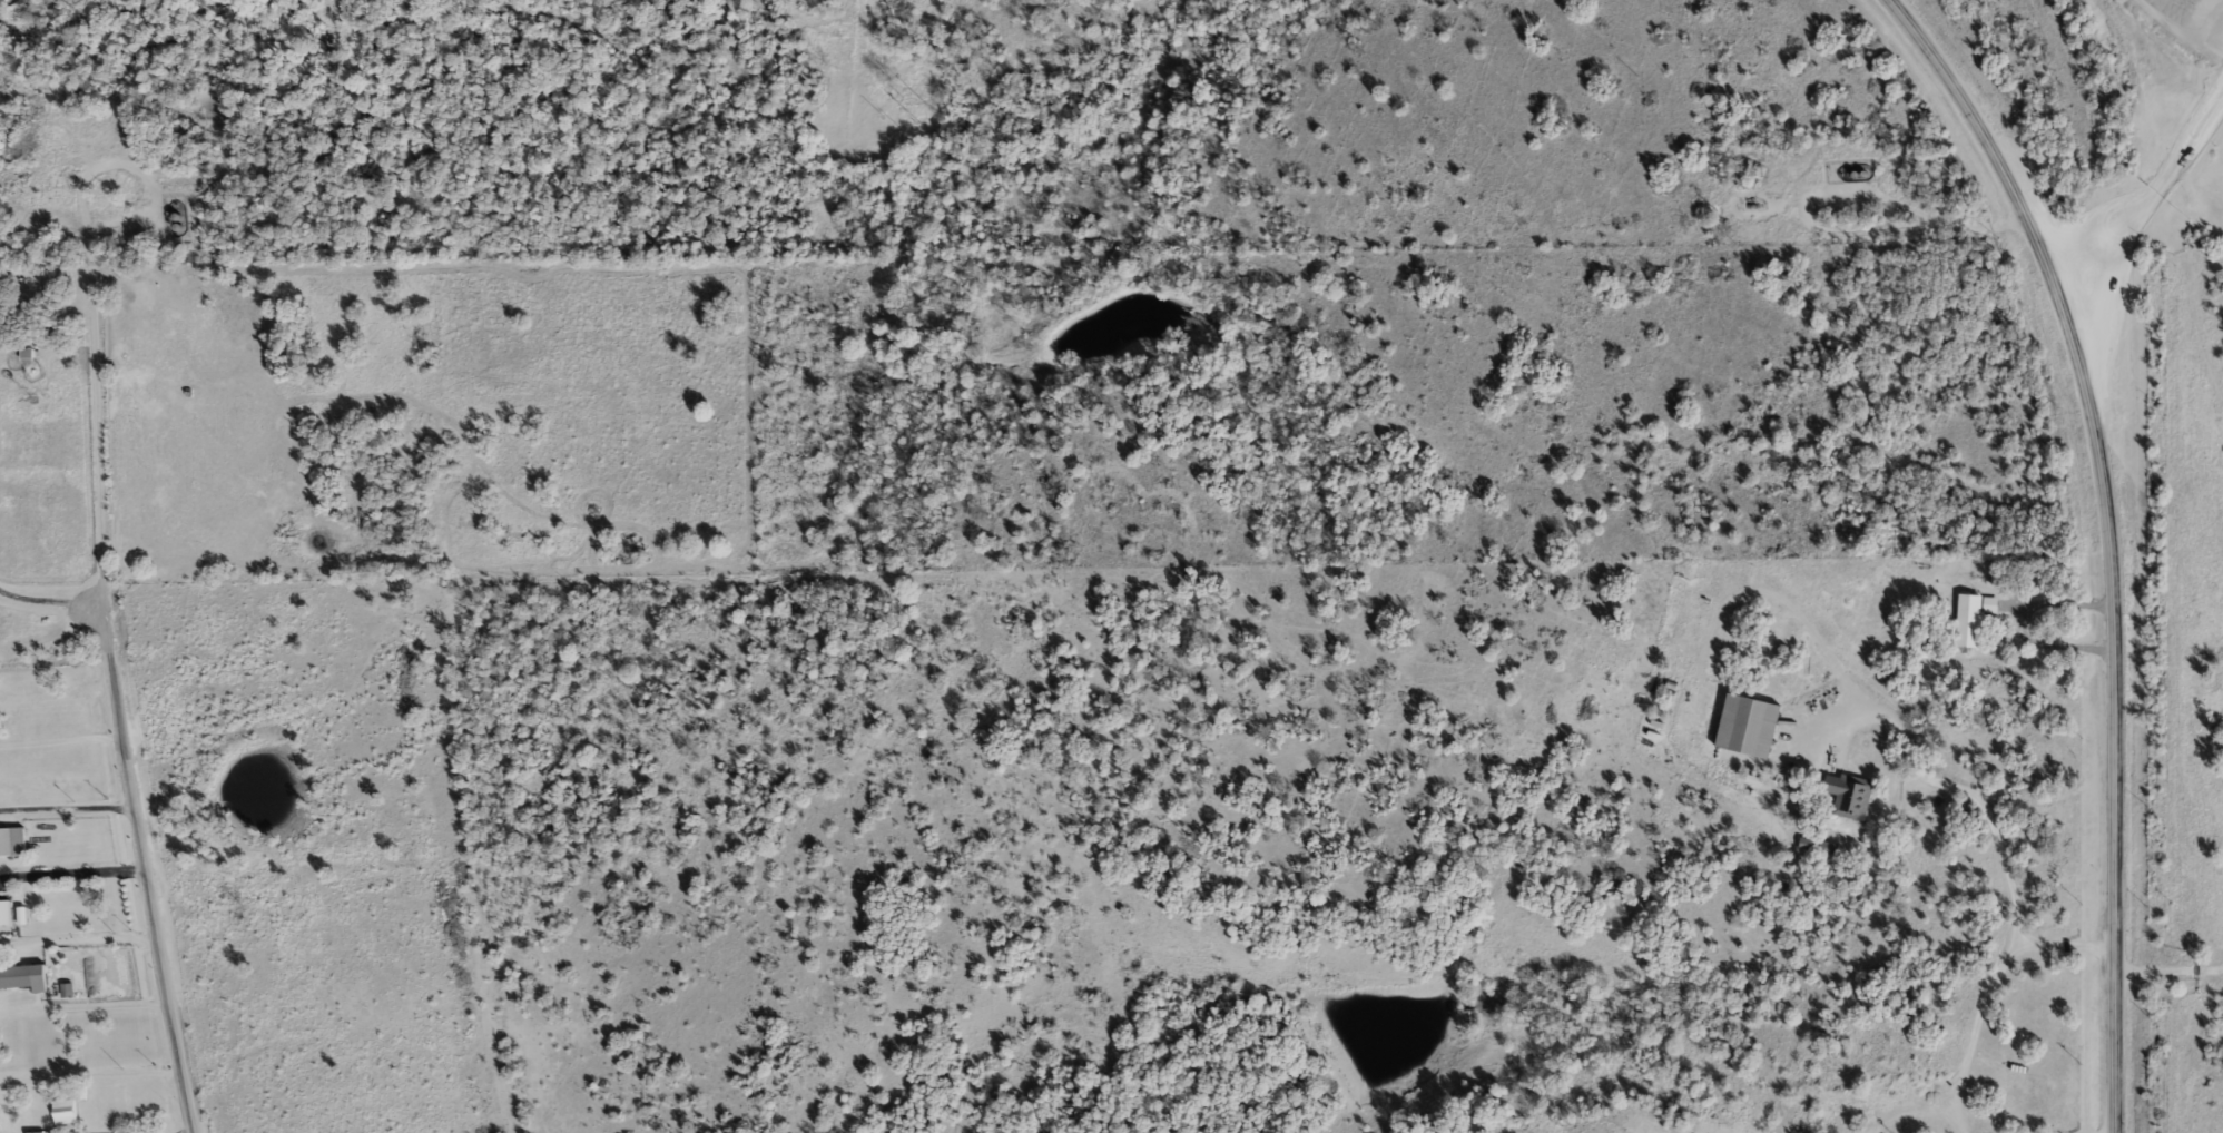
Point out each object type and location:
quarry: (2178, 72)
road: (2153, 167)
road: (90, 304)
road: (2108, 540)
road: (48, 600)
building: (1987, 604)
road: (2057, 607)
building: (1965, 620)
road: (2050, 651)
building: (1743, 726)
road: (58, 742)
building: (1847, 796)
road: (65, 807)
road: (1995, 835)
building: (6, 841)
building: (1817, 846)
road: (139, 867)
road: (69, 876)
building: (4, 913)
road: (75, 938)
road: (2168, 971)
building: (23, 977)
road: (81, 1008)
road: (1974, 1033)
building: (65, 1112)

